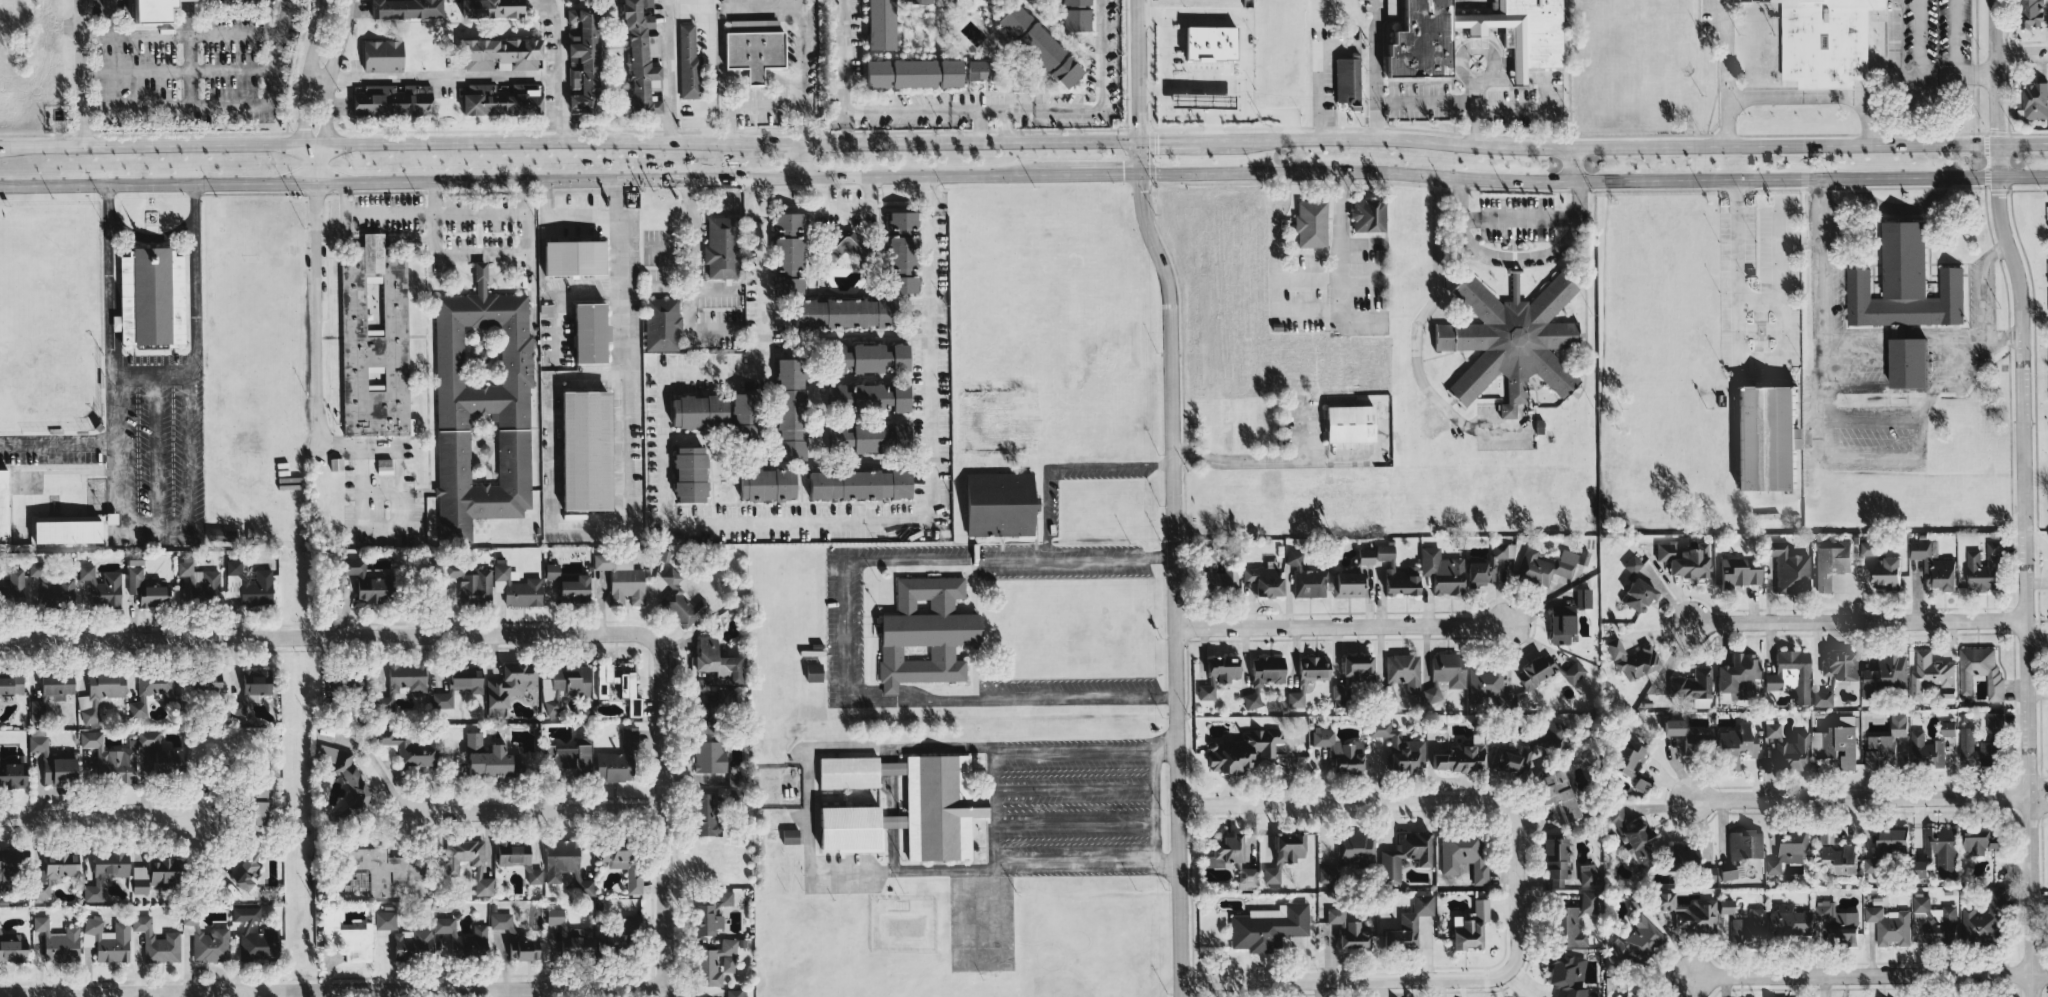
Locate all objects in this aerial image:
building: (912, 1)
building: (487, 8)
road: (778, 8)
building: (399, 9)
building: (153, 10)
building: (2028, 13)
building: (1070, 15)
road: (1191, 15)
road: (105, 18)
building: (1009, 19)
building: (876, 23)
parking lot: (1936, 32)
building: (1517, 33)
road: (179, 35)
road: (1920, 37)
road: (1953, 37)
building: (1413, 39)
building: (647, 41)
building: (1823, 41)
building: (1205, 43)
building: (1035, 45)
road: (1475, 45)
building: (749, 47)
road: (1727, 48)
building: (635, 52)
road: (188, 53)
building: (379, 55)
road: (843, 56)
road: (2024, 56)
building: (579, 62)
building: (686, 63)
road: (1244, 65)
road: (557, 69)
road: (1375, 69)
road: (175, 71)
road: (668, 71)
road: (80, 72)
road: (330, 72)
building: (945, 72)
building: (1061, 72)
road: (308, 73)
building: (871, 73)
building: (908, 73)
road: (1318, 73)
road: (1908, 76)
road: (319, 77)
road: (444, 77)
building: (1345, 81)
road: (1204, 83)
road: (1542, 84)
road: (2000, 88)
road: (1151, 90)
road: (1817, 97)
building: (497, 99)
building: (388, 101)
road: (1424, 101)
road: (1508, 105)
road: (226, 106)
building: (654, 106)
road: (1026, 110)
road: (1189, 114)
road: (1474, 114)
road: (1727, 122)
road: (979, 125)
road: (1006, 125)
road: (1212, 127)
road: (1024, 140)
traffic signals: (1137, 140)
road: (798, 159)
road: (316, 163)
road: (1575, 164)
road: (1102, 173)
traffic signals: (1137, 173)
road: (533, 179)
road: (1592, 179)
road: (713, 207)
road: (846, 207)
road: (436, 215)
building: (1365, 215)
road: (1519, 218)
road: (568, 219)
building: (1308, 223)
road: (1362, 242)
building: (716, 247)
building: (783, 253)
building: (896, 253)
road: (461, 255)
building: (574, 257)
road: (1516, 259)
road: (1737, 265)
road: (694, 275)
road: (1307, 277)
road: (194, 278)
road: (108, 279)
road: (1363, 282)
road: (1979, 287)
building: (151, 296)
building: (1905, 298)
building: (838, 313)
road: (1306, 313)
road: (1363, 315)
road: (318, 316)
building: (659, 324)
building: (591, 332)
road: (1415, 334)
building: (373, 340)
building: (1513, 347)
road: (625, 350)
building: (863, 358)
road: (152, 371)
road: (1819, 392)
road: (1930, 392)
road: (117, 406)
building: (481, 408)
road: (188, 409)
building: (740, 409)
building: (693, 412)
road: (549, 416)
building: (1346, 424)
building: (1767, 436)
road: (58, 442)
road: (153, 445)
road: (362, 448)
building: (586, 450)
road: (1292, 457)
road: (1071, 470)
building: (690, 478)
building: (767, 484)
building: (859, 484)
road: (1171, 496)
building: (999, 504)
building: (4, 507)
road: (152, 519)
road: (746, 523)
road: (587, 528)
building: (67, 529)
building: (1870, 548)
building: (1385, 552)
building: (1366, 556)
building: (135, 559)
building: (1684, 560)
building: (1830, 563)
building: (1632, 564)
building: (1548, 565)
building: (1488, 566)
building: (1934, 566)
building: (1789, 568)
building: (1984, 568)
building: (552, 571)
building: (1442, 572)
building: (1738, 572)
building: (1888, 572)
building: (1220, 575)
building: (1306, 578)
building: (622, 579)
building: (1265, 579)
building: (1402, 581)
building: (368, 582)
building: (199, 583)
building: (472, 584)
building: (49, 585)
building: (1349, 585)
road: (2023, 585)
building: (102, 587)
building: (13, 588)
building: (519, 588)
building: (147, 589)
building: (575, 590)
building: (1638, 595)
building: (1583, 598)
building: (680, 601)
road: (1856, 619)
building: (1562, 623)
road: (1340, 626)
road: (840, 630)
building: (925, 633)
road: (326, 636)
building: (1632, 659)
building: (717, 661)
building: (1841, 666)
building: (1404, 670)
building: (1980, 670)
building: (814, 672)
building: (1531, 673)
building: (1573, 673)
building: (1884, 673)
building: (1930, 673)
building: (1354, 674)
building: (1218, 675)
building: (1791, 675)
building: (1264, 677)
building: (1308, 677)
building: (1737, 677)
building: (403, 681)
building: (58, 683)
building: (206, 683)
building: (11, 685)
building: (459, 685)
building: (509, 686)
building: (1693, 686)
building: (565, 687)
building: (1488, 687)
building: (252, 688)
building: (618, 688)
building: (153, 691)
building: (100, 693)
building: (1822, 698)
building: (37, 710)
building: (712, 711)
building: (1690, 736)
building: (149, 738)
building: (1984, 743)
building: (1885, 744)
building: (1930, 744)
building: (1836, 745)
building: (1734, 746)
building: (411, 748)
building: (1788, 748)
building: (1399, 749)
building: (1527, 749)
building: (1340, 750)
building: (1242, 752)
building: (574, 755)
building: (709, 756)
building: (1628, 757)
building: (490, 758)
building: (1458, 758)
building: (111, 759)
building: (619, 760)
building: (168, 761)
building: (53, 763)
building: (345, 772)
building: (13, 773)
building: (1643, 782)
road: (1078, 787)
building: (1557, 793)
road: (2026, 795)
road: (1378, 796)
road: (1859, 796)
building: (920, 800)
road: (1155, 807)
road: (534, 810)
building: (257, 812)
building: (706, 816)
road: (91, 817)
road: (661, 817)
building: (851, 828)
building: (791, 836)
building: (1980, 840)
building: (1892, 841)
building: (1746, 844)
building: (1647, 845)
building: (1355, 846)
building: (1786, 846)
road: (1003, 847)
building: (1226, 850)
building: (1941, 850)
building: (1285, 854)
building: (1464, 854)
building: (1838, 854)
building: (1405, 855)
building: (519, 859)
building: (623, 860)
building: (1555, 860)
building: (1871, 865)
building: (566, 866)
building: (452, 867)
building: (1921, 868)
building: (55, 871)
building: (106, 871)
building: (373, 871)
road: (939, 874)
building: (1327, 874)
building: (1588, 874)
building: (1708, 874)
building: (1728, 874)
building: (157, 875)
building: (1247, 877)
building: (1665, 901)
building: (1726, 906)
building: (712, 914)
building: (1697, 917)
building: (1985, 919)
building: (385, 920)
building: (1790, 920)
building: (1936, 920)
building: (1573, 921)
building: (1410, 923)
building: (1838, 923)
building: (1471, 926)
building: (1890, 926)
building: (1269, 927)
building: (1750, 928)
building: (1348, 930)
building: (511, 934)
building: (256, 936)
building: (570, 936)
building: (346, 937)
building: (463, 938)
building: (620, 938)
building: (107, 939)
building: (1639, 940)
building: (208, 941)
building: (59, 942)
building: (157, 942)
building: (412, 944)
building: (13, 948)
building: (717, 963)
road: (1380, 974)
building: (1567, 974)
road: (1871, 974)
road: (332, 989)
building: (736, 993)
building: (1625, 996)
building: (1638, 996)

